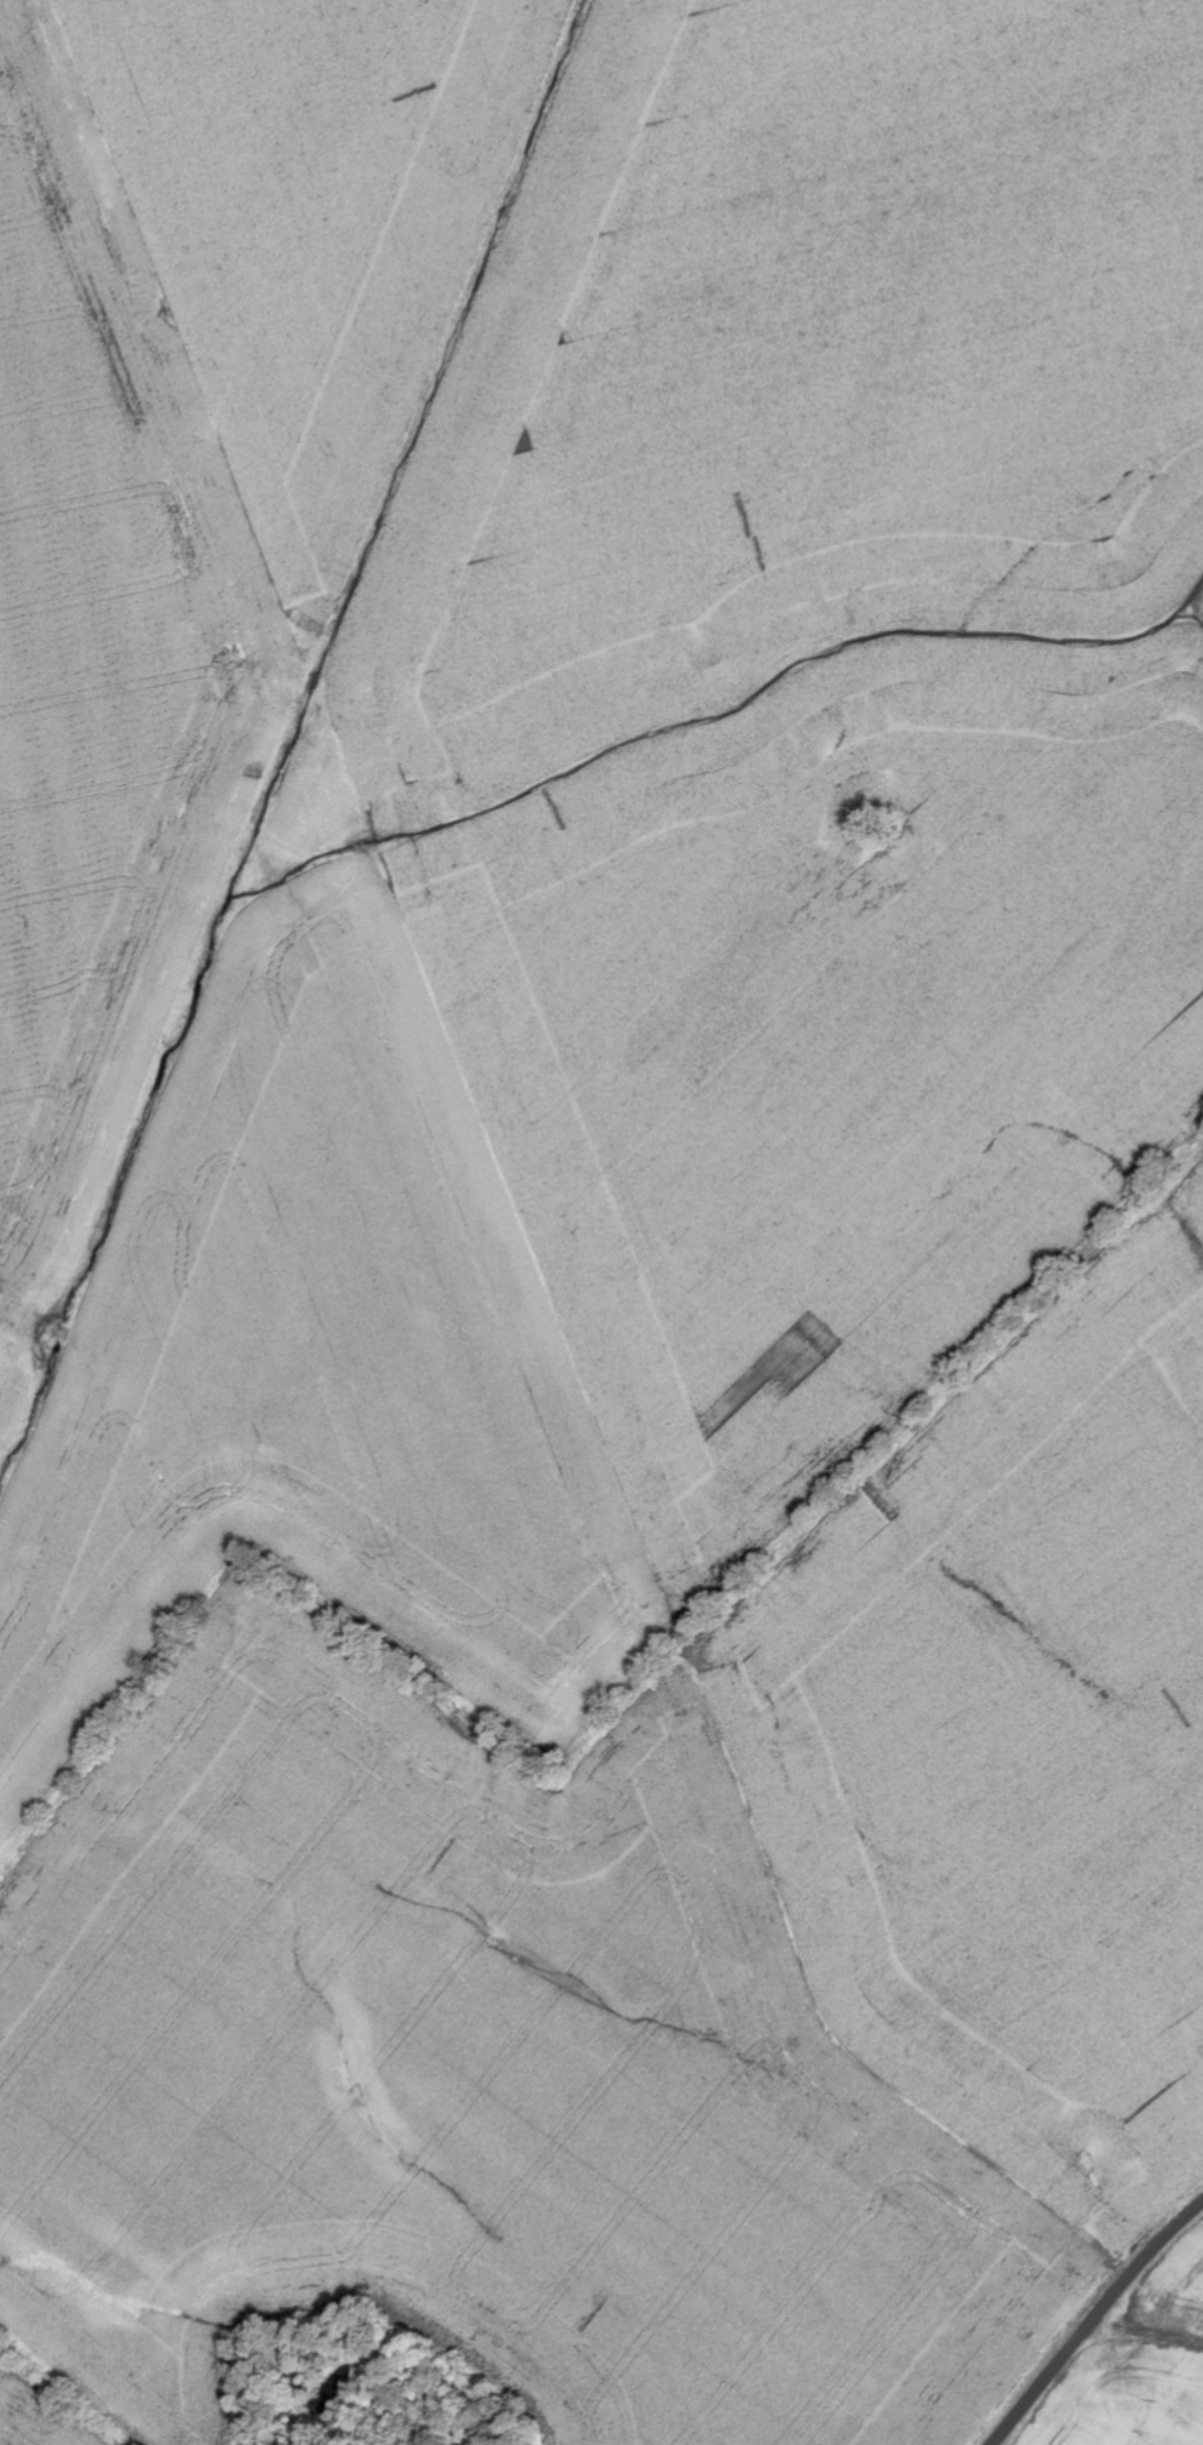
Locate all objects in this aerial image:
road: (1093, 2320)

